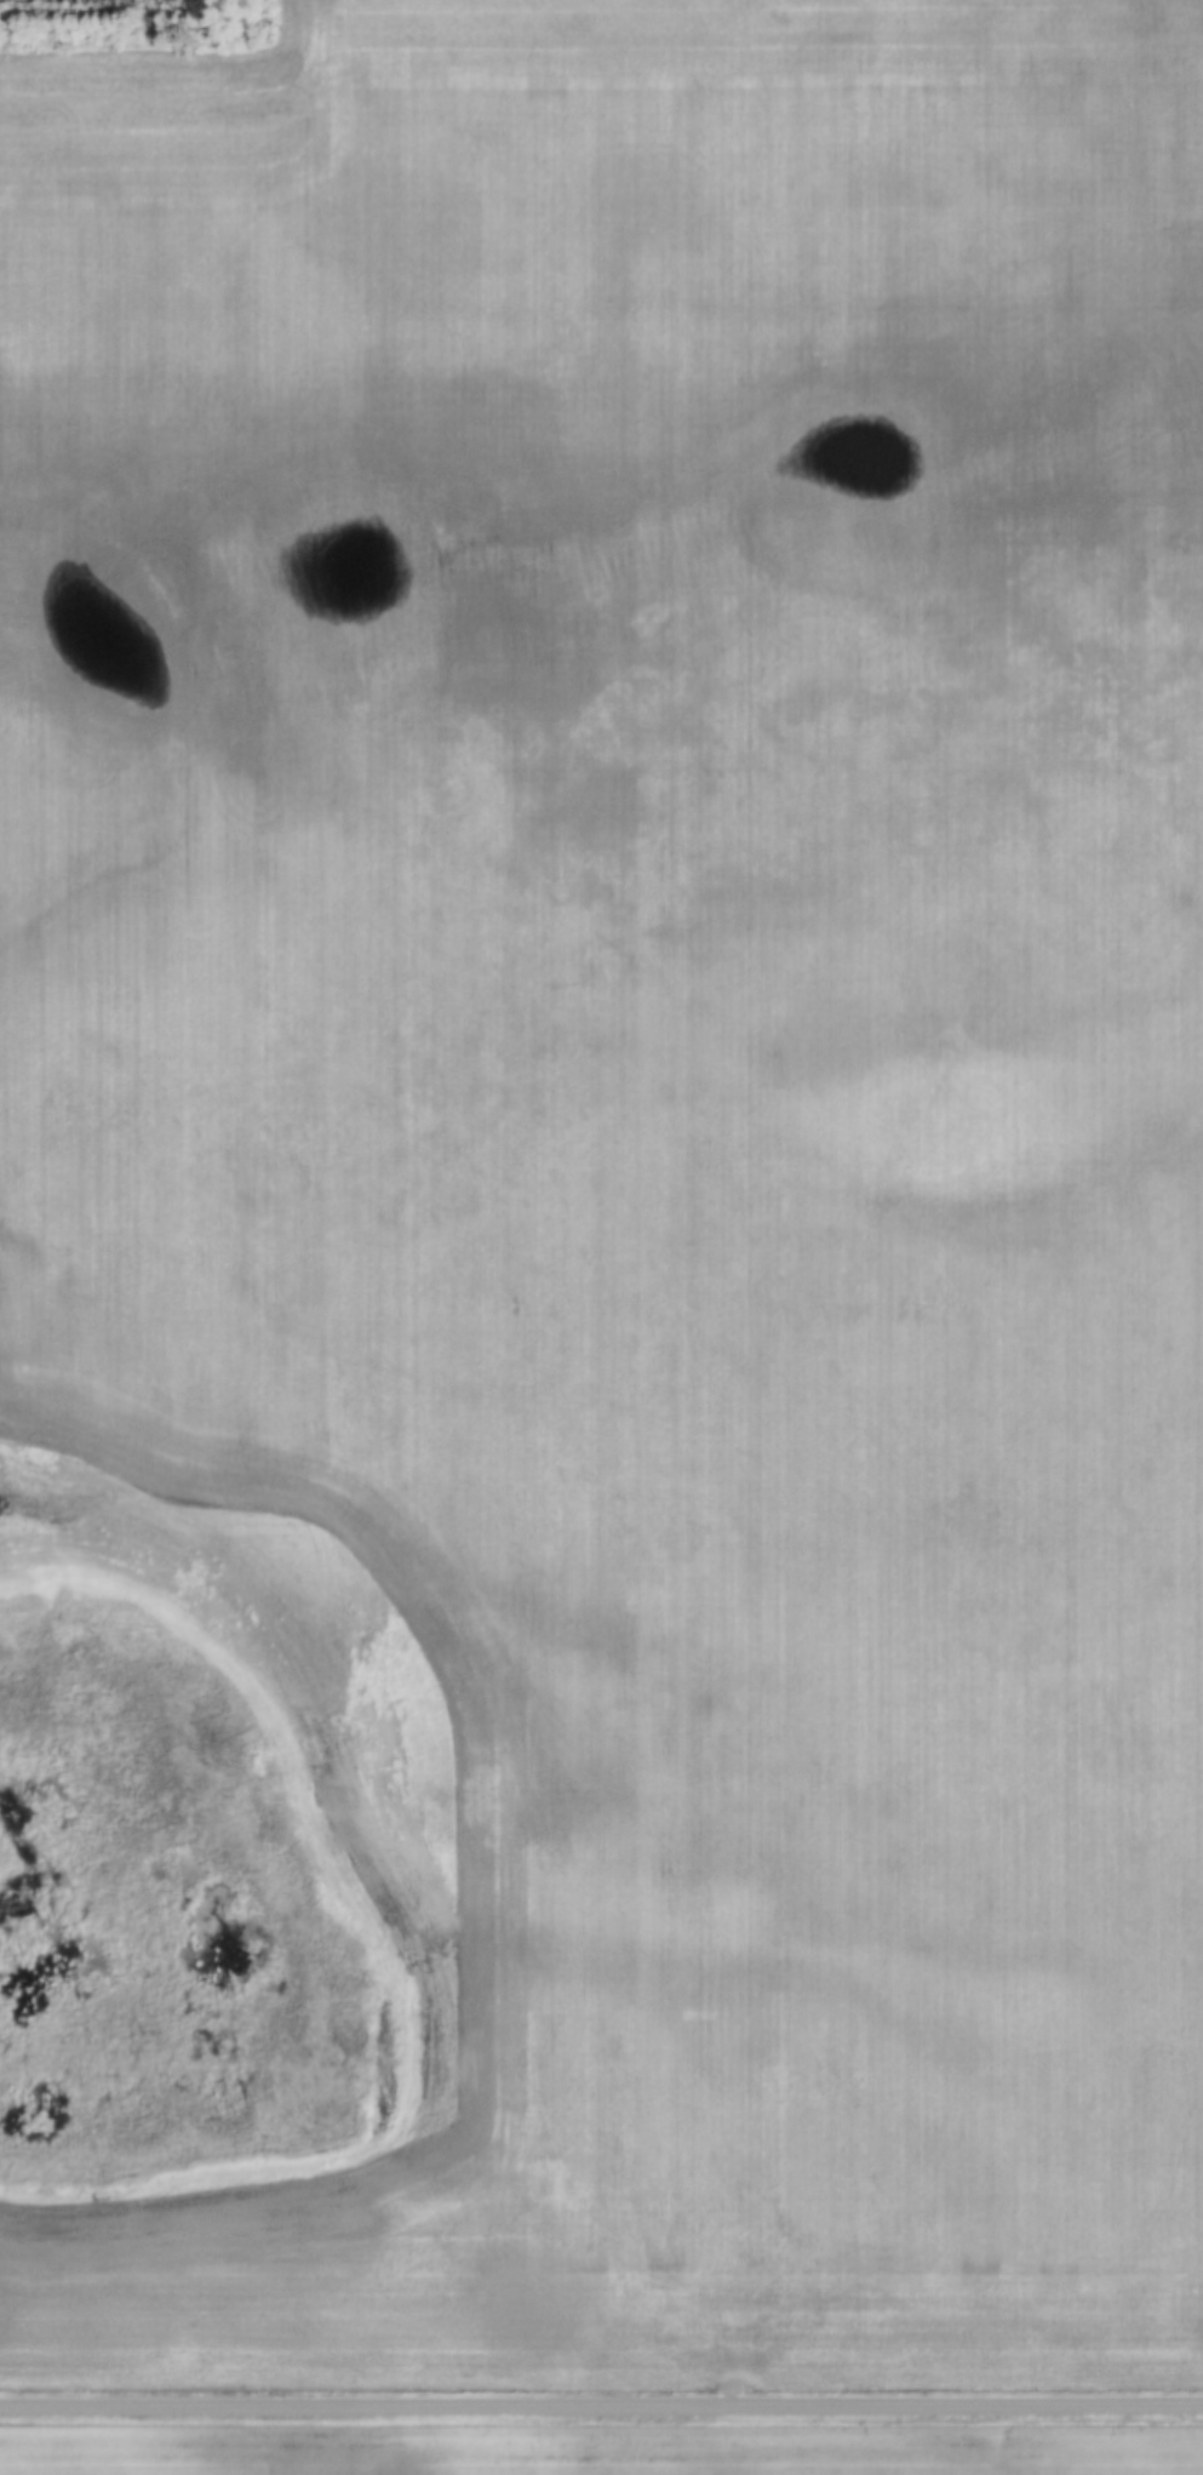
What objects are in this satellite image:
road: (601, 2406)

